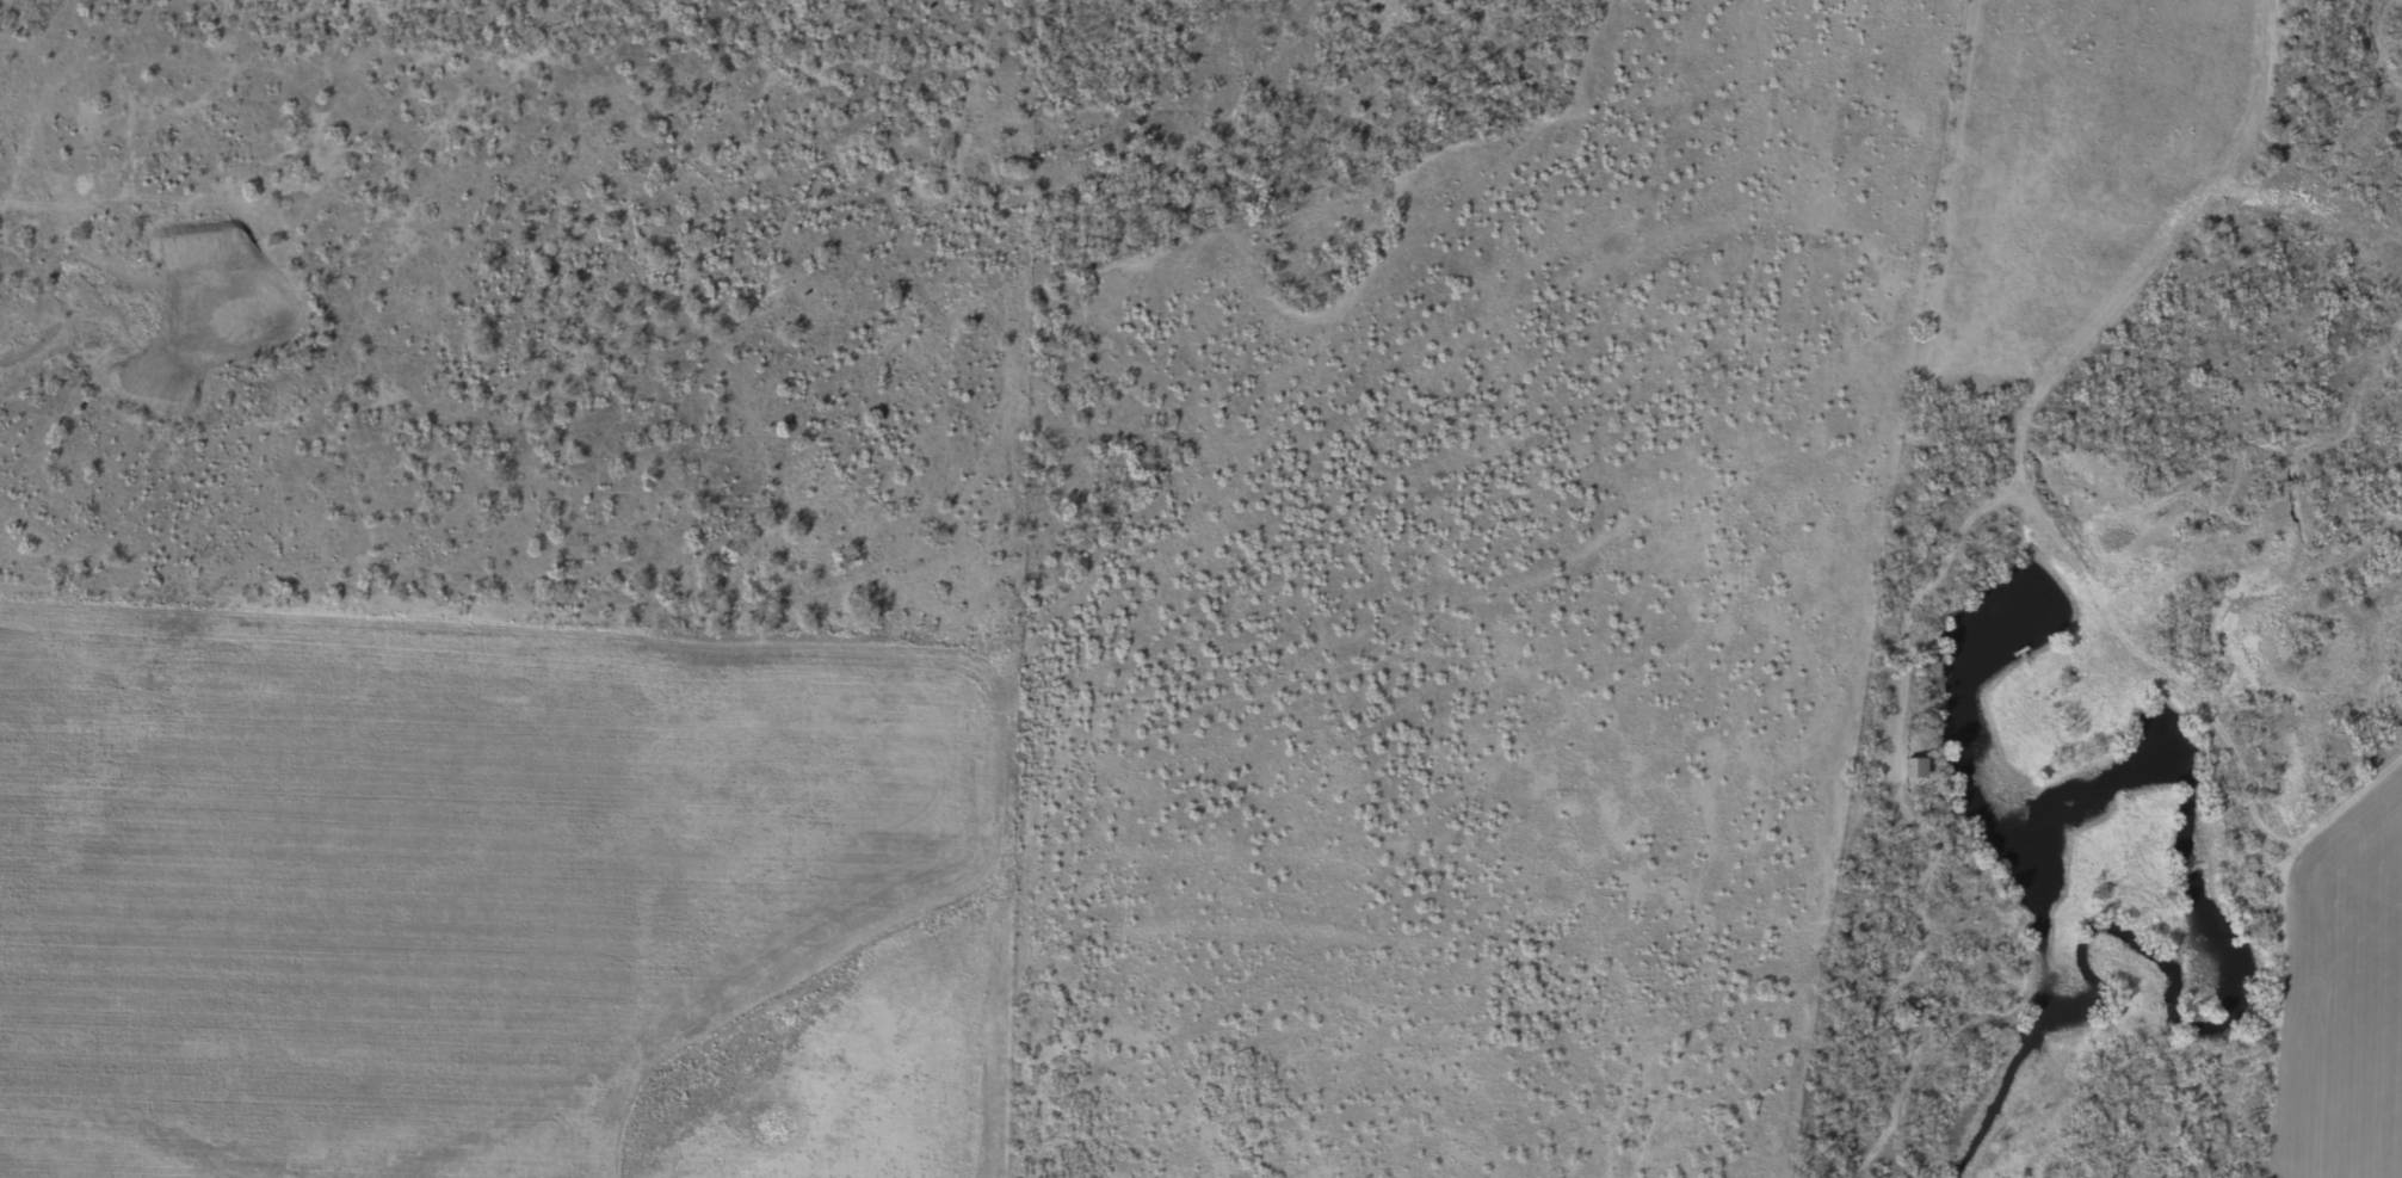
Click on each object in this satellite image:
building: (1914, 769)

